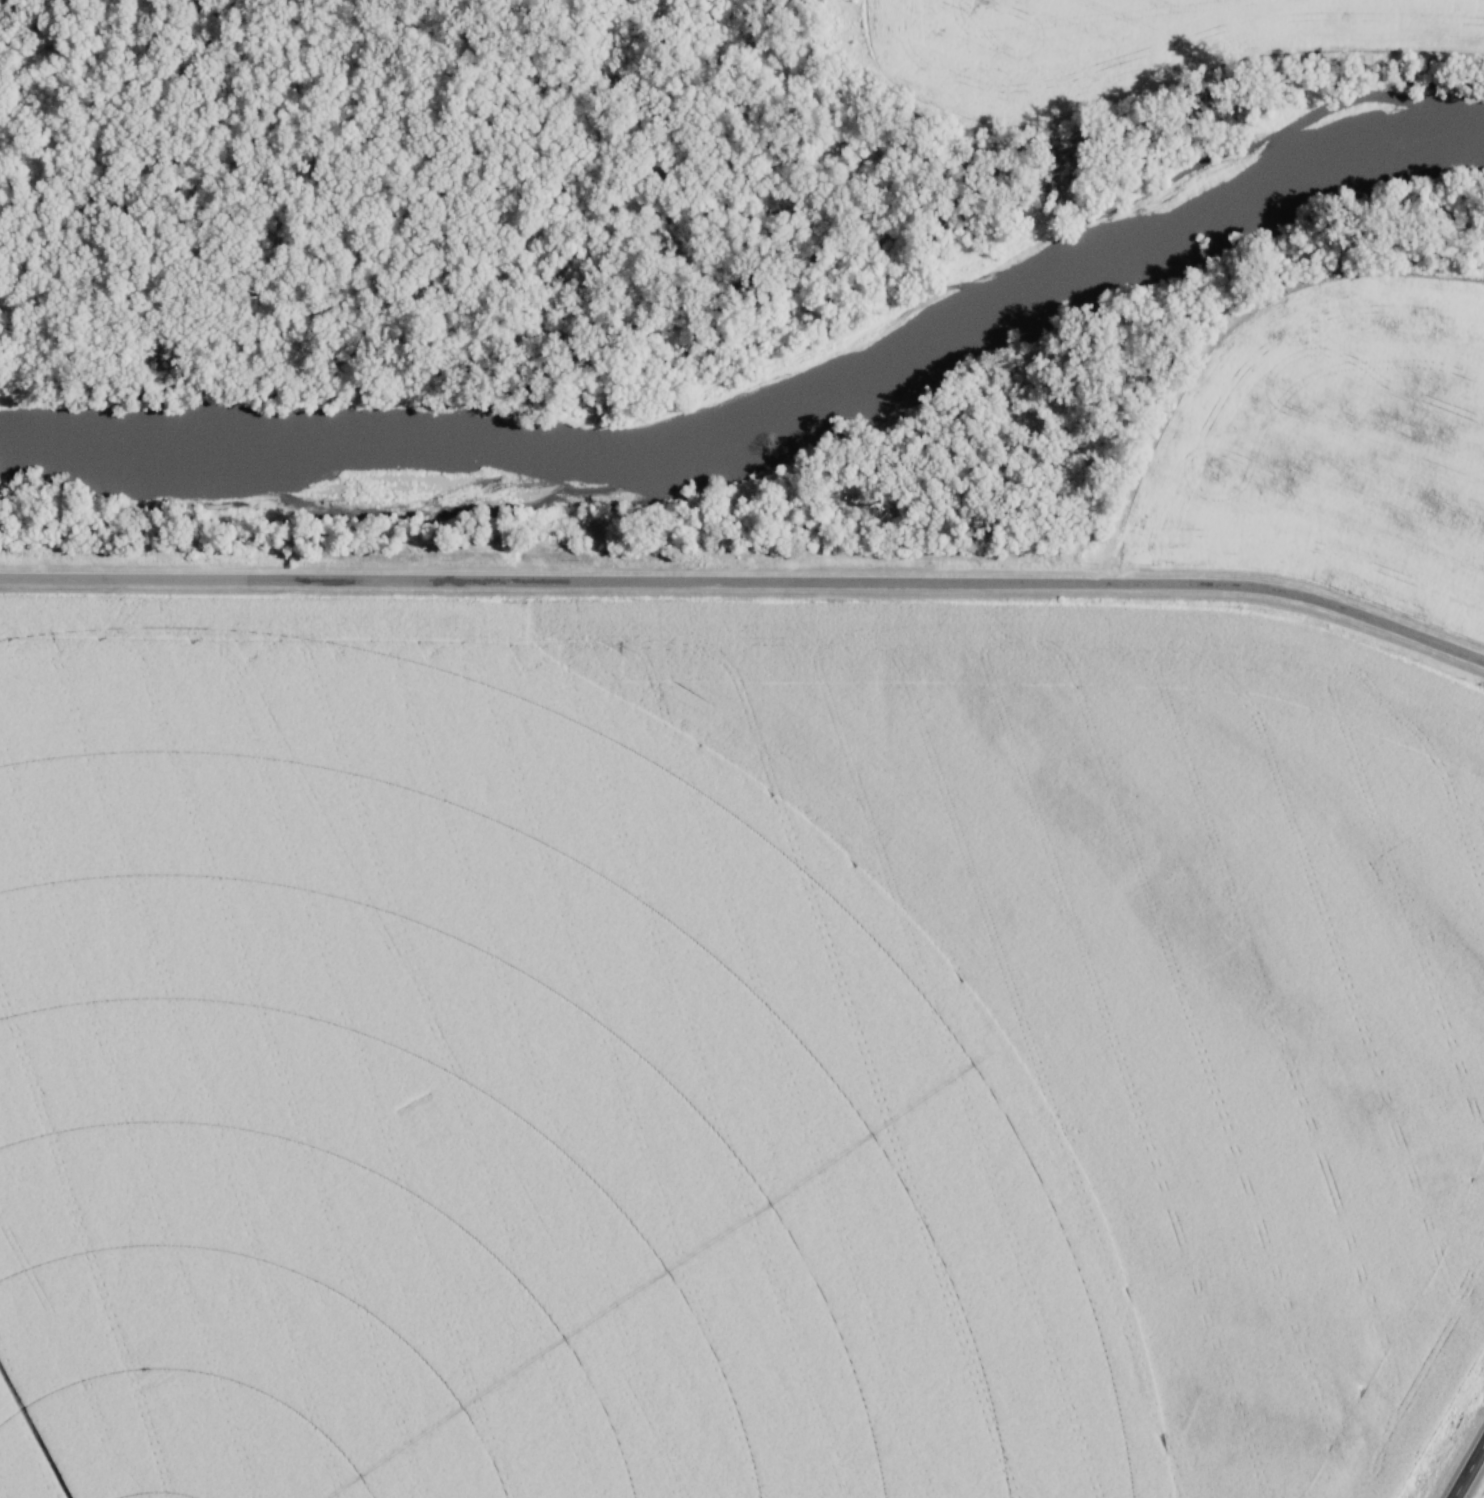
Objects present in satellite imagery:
river: (767, 403)
road: (748, 584)
road: (1471, 1476)

